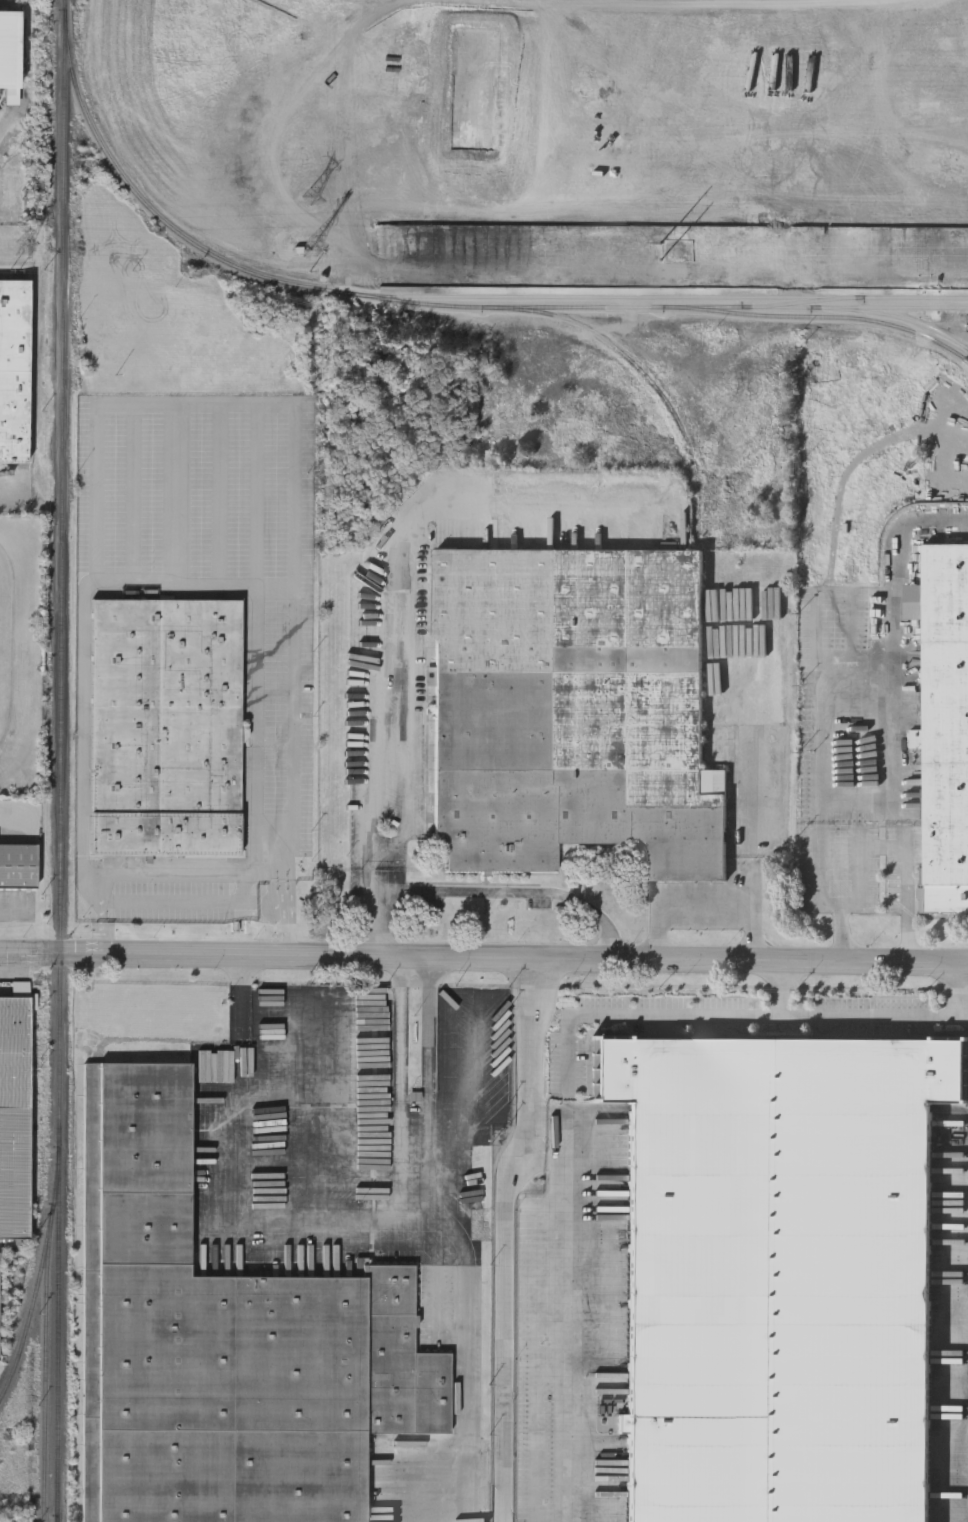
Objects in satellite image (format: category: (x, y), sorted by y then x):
building: (9, 48)
power tower: (23, 198)
power tower: (314, 199)
power tower: (24, 251)
power tower: (313, 254)
power tower: (682, 254)
railway: (664, 296)
railway: (439, 303)
railway: (827, 305)
railway: (892, 317)
building: (14, 370)
railway: (646, 374)
road: (202, 402)
road: (134, 490)
road: (177, 492)
road: (220, 493)
road: (259, 495)
road: (382, 586)
road: (279, 588)
road: (84, 655)
road: (819, 684)
railway: (60, 702)
building: (576, 712)
building: (946, 726)
building: (165, 727)
road: (748, 777)
road: (901, 848)
building: (18, 865)
road: (165, 870)
road: (483, 890)
road: (246, 895)
road: (705, 903)
road: (15, 907)
road: (101, 910)
road: (100, 937)
road: (49, 952)
road: (533, 958)
road: (778, 987)
road: (773, 1015)
road: (401, 1046)
road: (429, 1046)
road: (470, 1075)
building: (13, 1115)
road: (330, 1126)
road: (241, 1190)
road: (505, 1238)
building: (0, 1264)
building: (783, 1274)
road: (469, 1304)
road: (564, 1308)
railway: (56, 1339)
building: (225, 1344)
railway: (45, 1380)

